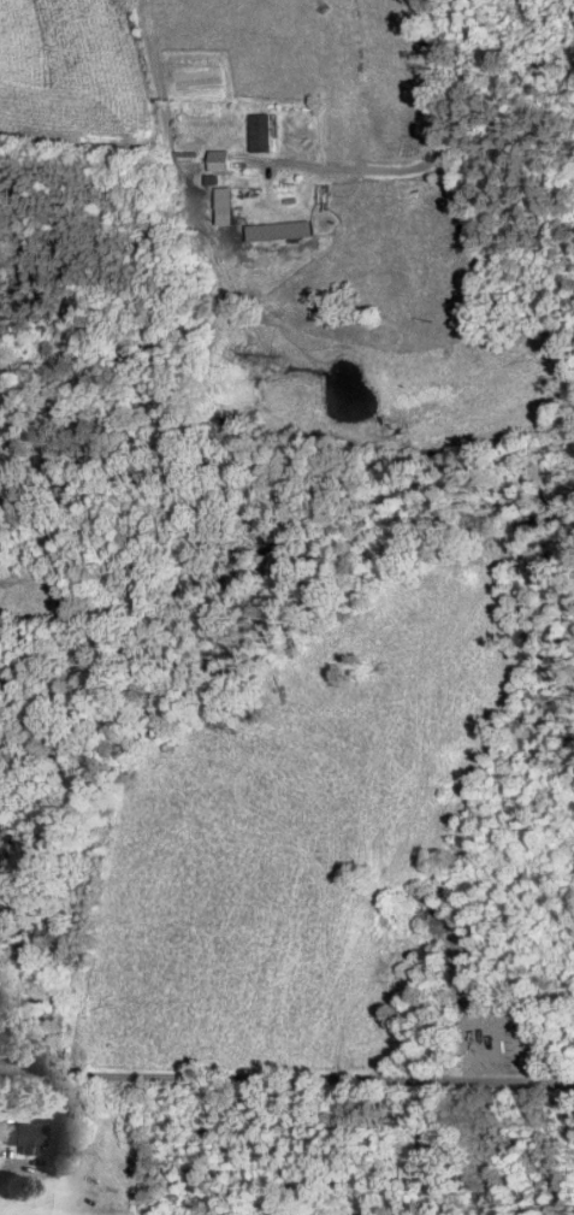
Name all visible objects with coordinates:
building: (265, 132)
road: (427, 157)
building: (223, 160)
building: (213, 201)
building: (283, 230)
road: (286, 1080)
building: (24, 1138)

